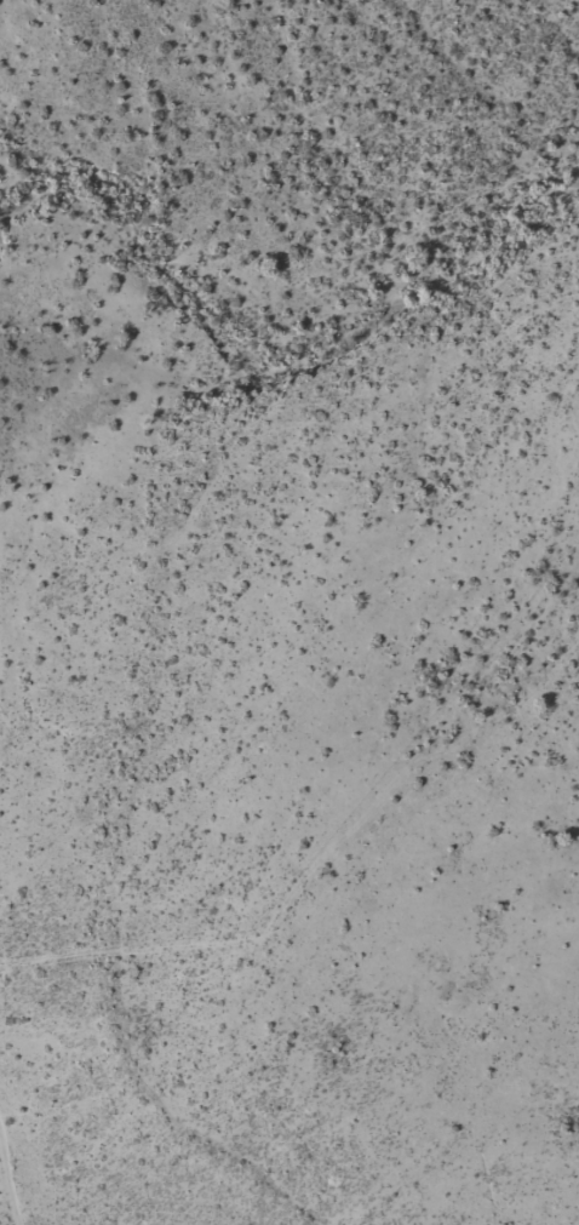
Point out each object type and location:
road: (11, 1213)

